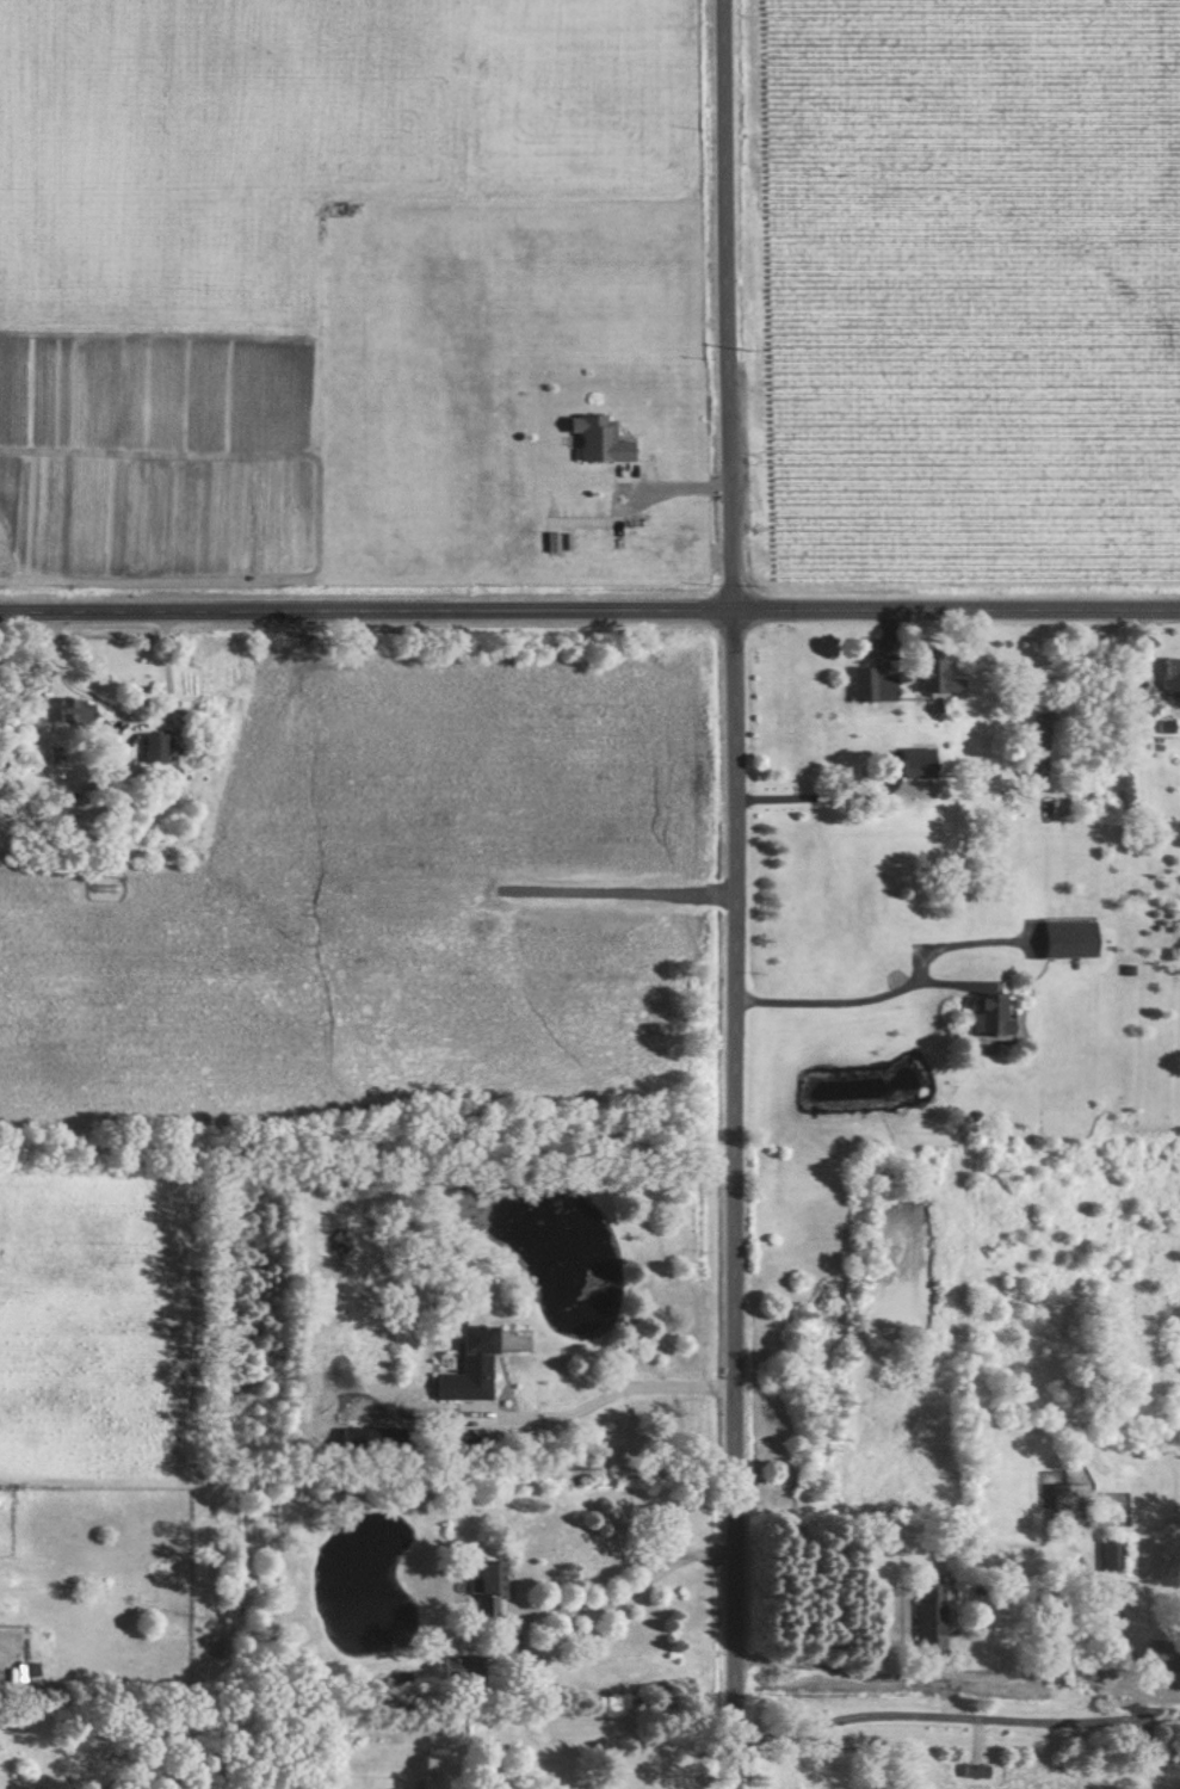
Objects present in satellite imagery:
road: (735, 303)
building: (604, 438)
road: (369, 605)
road: (959, 606)
building: (866, 646)
building: (935, 673)
building: (1170, 675)
building: (866, 683)
building: (1143, 703)
road: (119, 708)
building: (156, 747)
building: (920, 761)
building: (1070, 937)
road: (897, 1001)
building: (995, 1013)
road: (737, 1197)
building: (481, 1358)
road: (603, 1400)
building: (1071, 1504)
building: (1113, 1556)
building: (492, 1578)
road: (624, 1606)
building: (932, 1611)
building: (1163, 1654)
building: (463, 1667)
road: (963, 1684)
road: (956, 1729)

